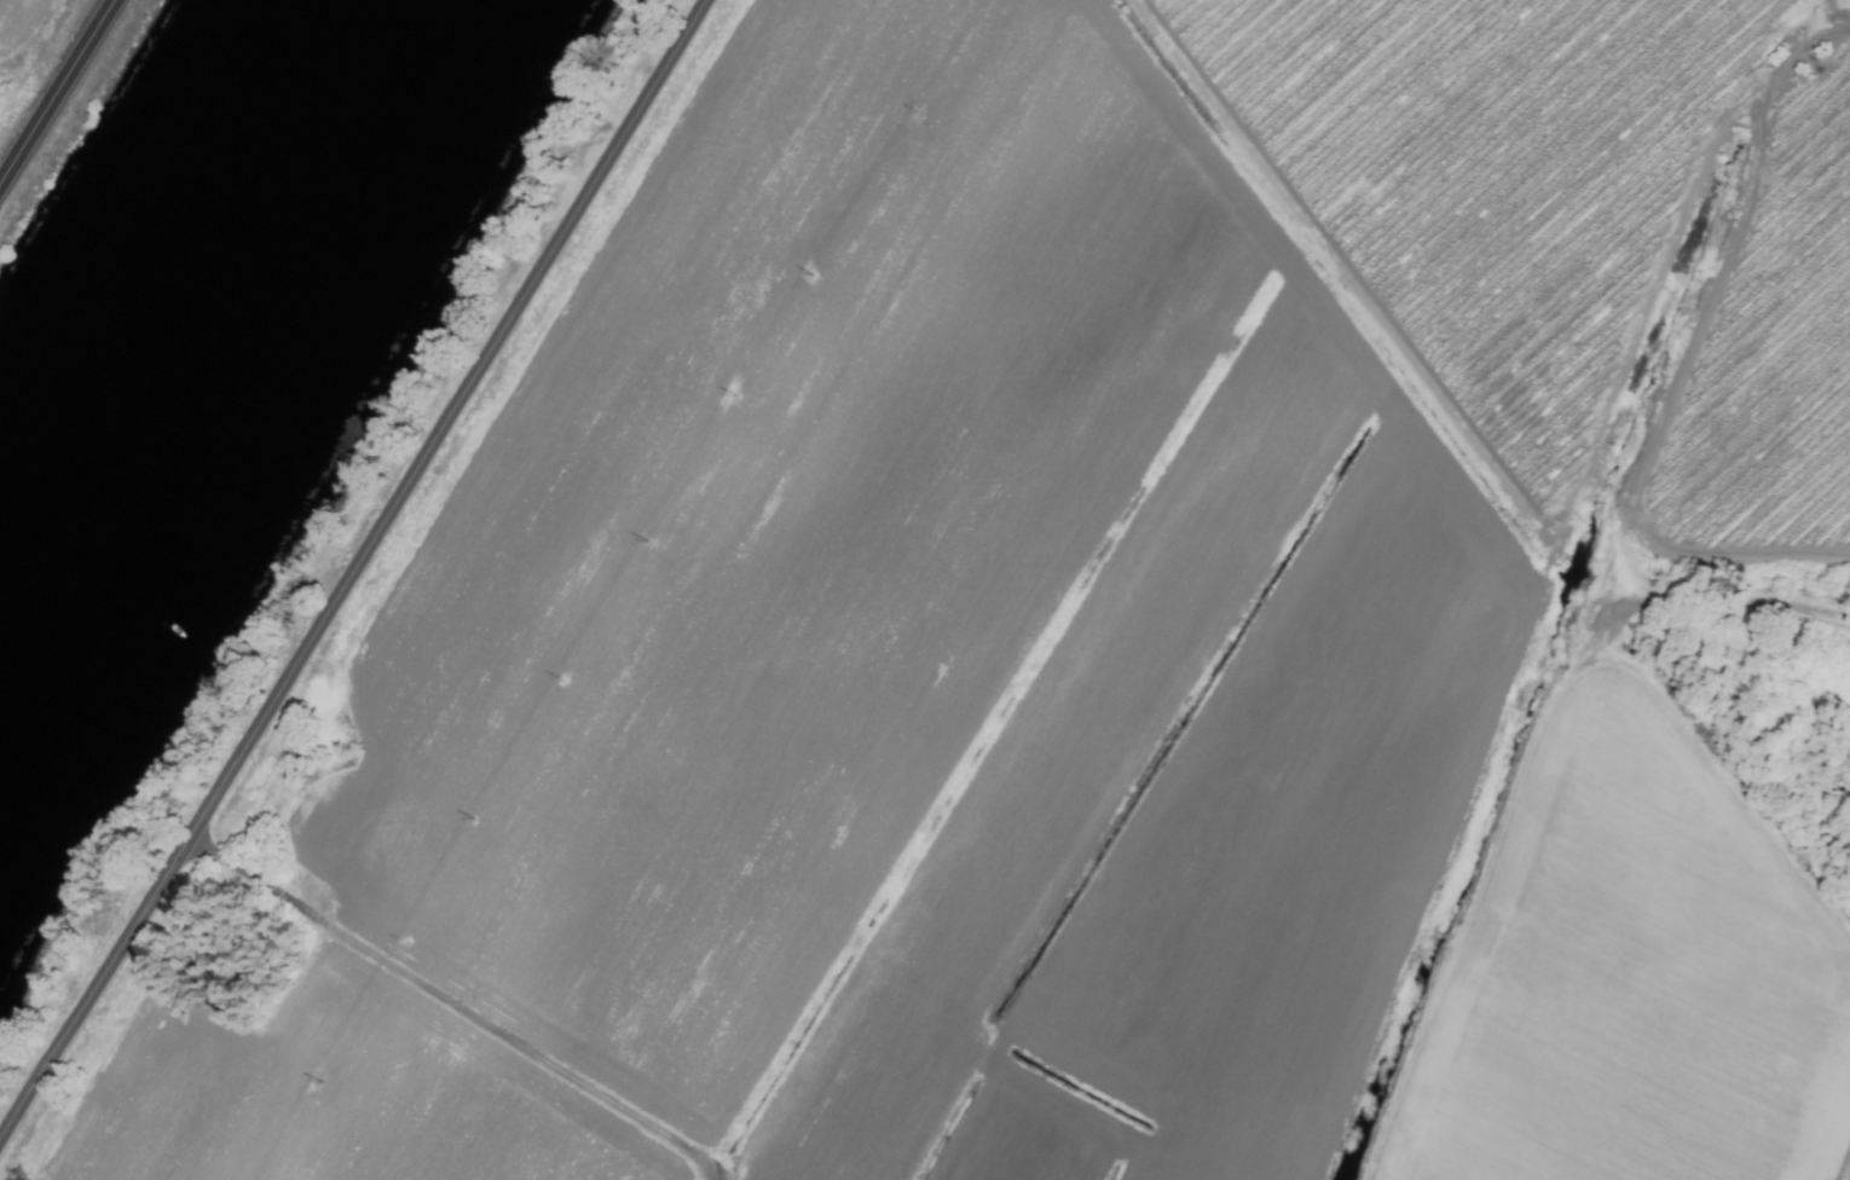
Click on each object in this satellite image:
crop: (39, 64)
road: (53, 89)
river: (190, 322)
road: (351, 569)
crop: (1081, 637)
road: (447, 1010)

